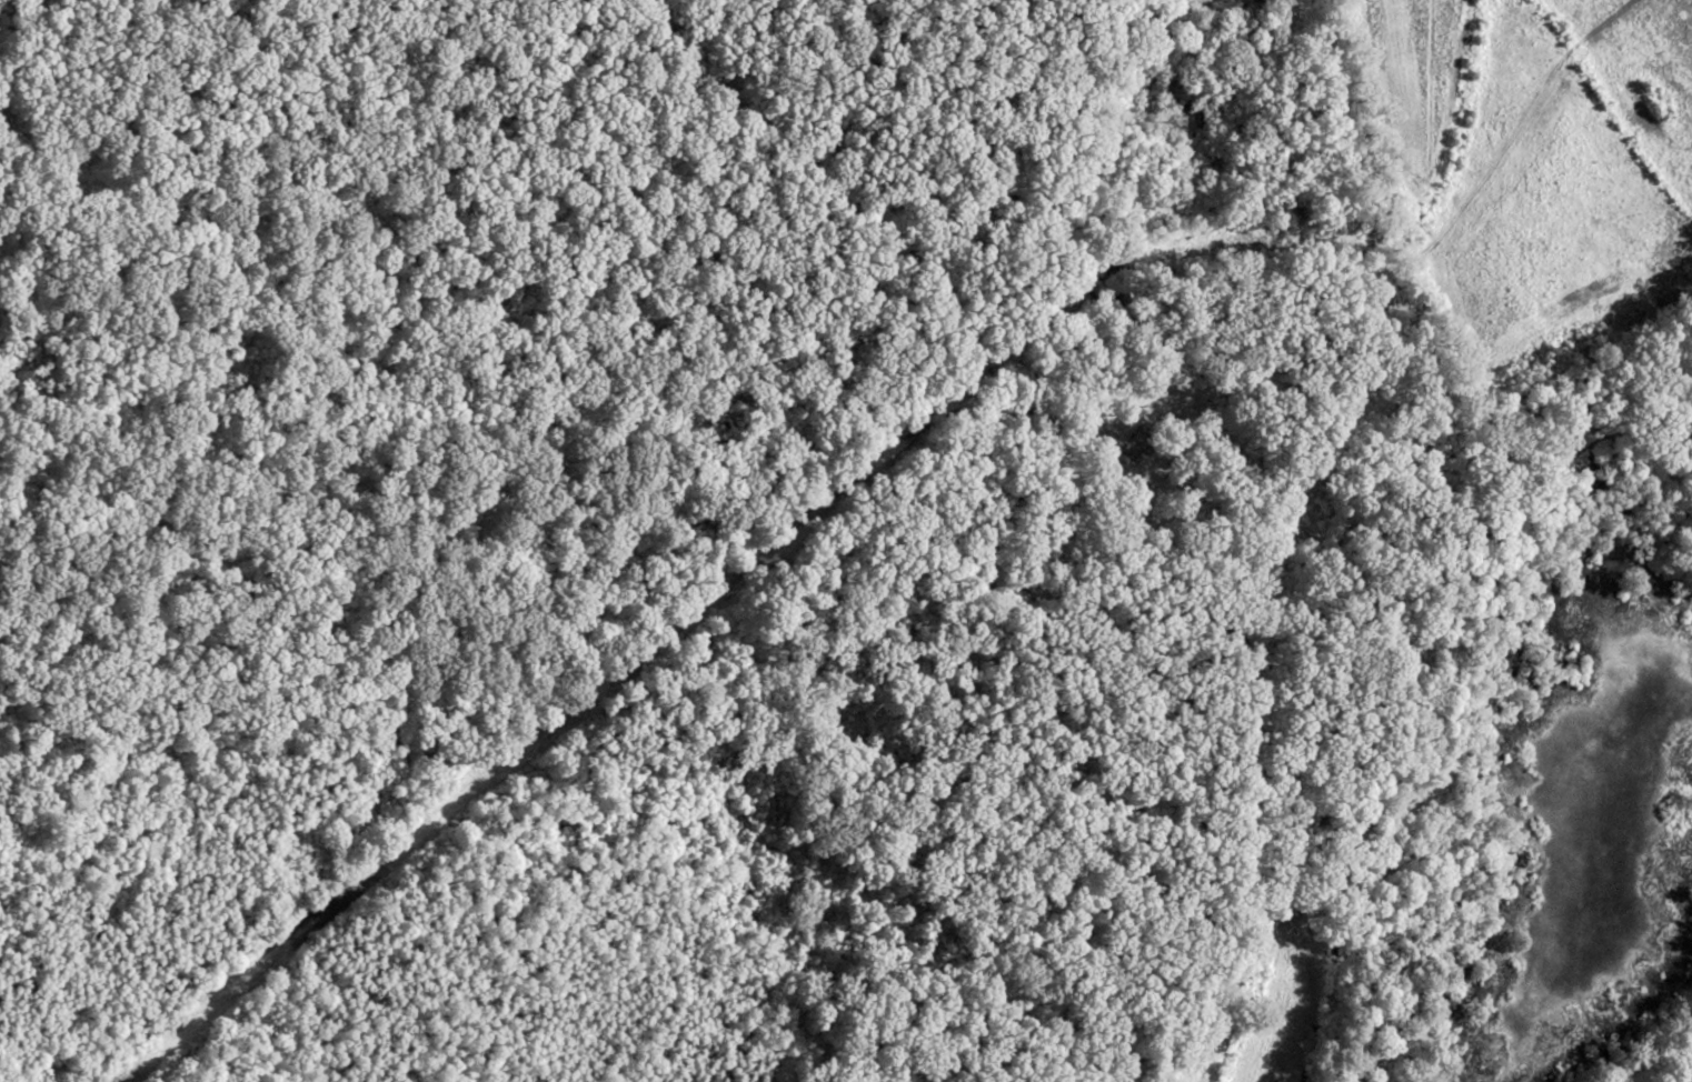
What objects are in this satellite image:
road: (860, 212)
building: (1135, 447)

